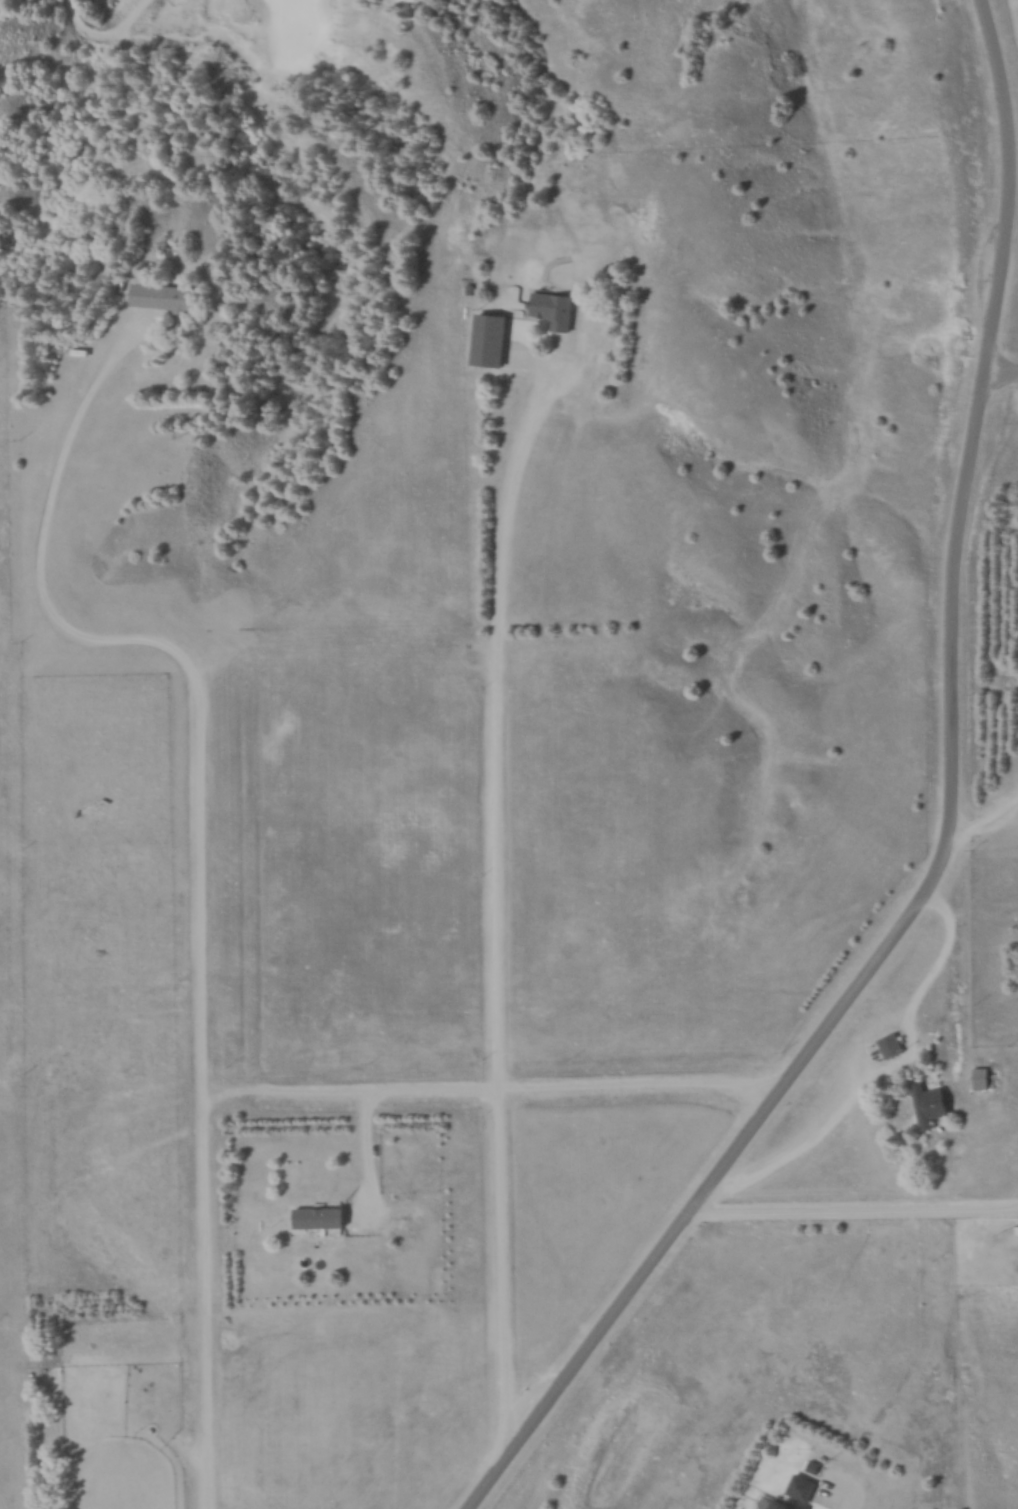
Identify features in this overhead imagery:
building: (165, 296)
building: (558, 309)
building: (493, 340)
road: (1003, 372)
road: (168, 652)
road: (490, 716)
road: (986, 823)
road: (953, 829)
building: (895, 1045)
building: (985, 1078)
road: (482, 1094)
building: (933, 1105)
road: (364, 1165)
road: (850, 1216)
building: (321, 1218)
road: (200, 1309)
building: (804, 1488)
building: (785, 1505)
road: (823, 1506)

